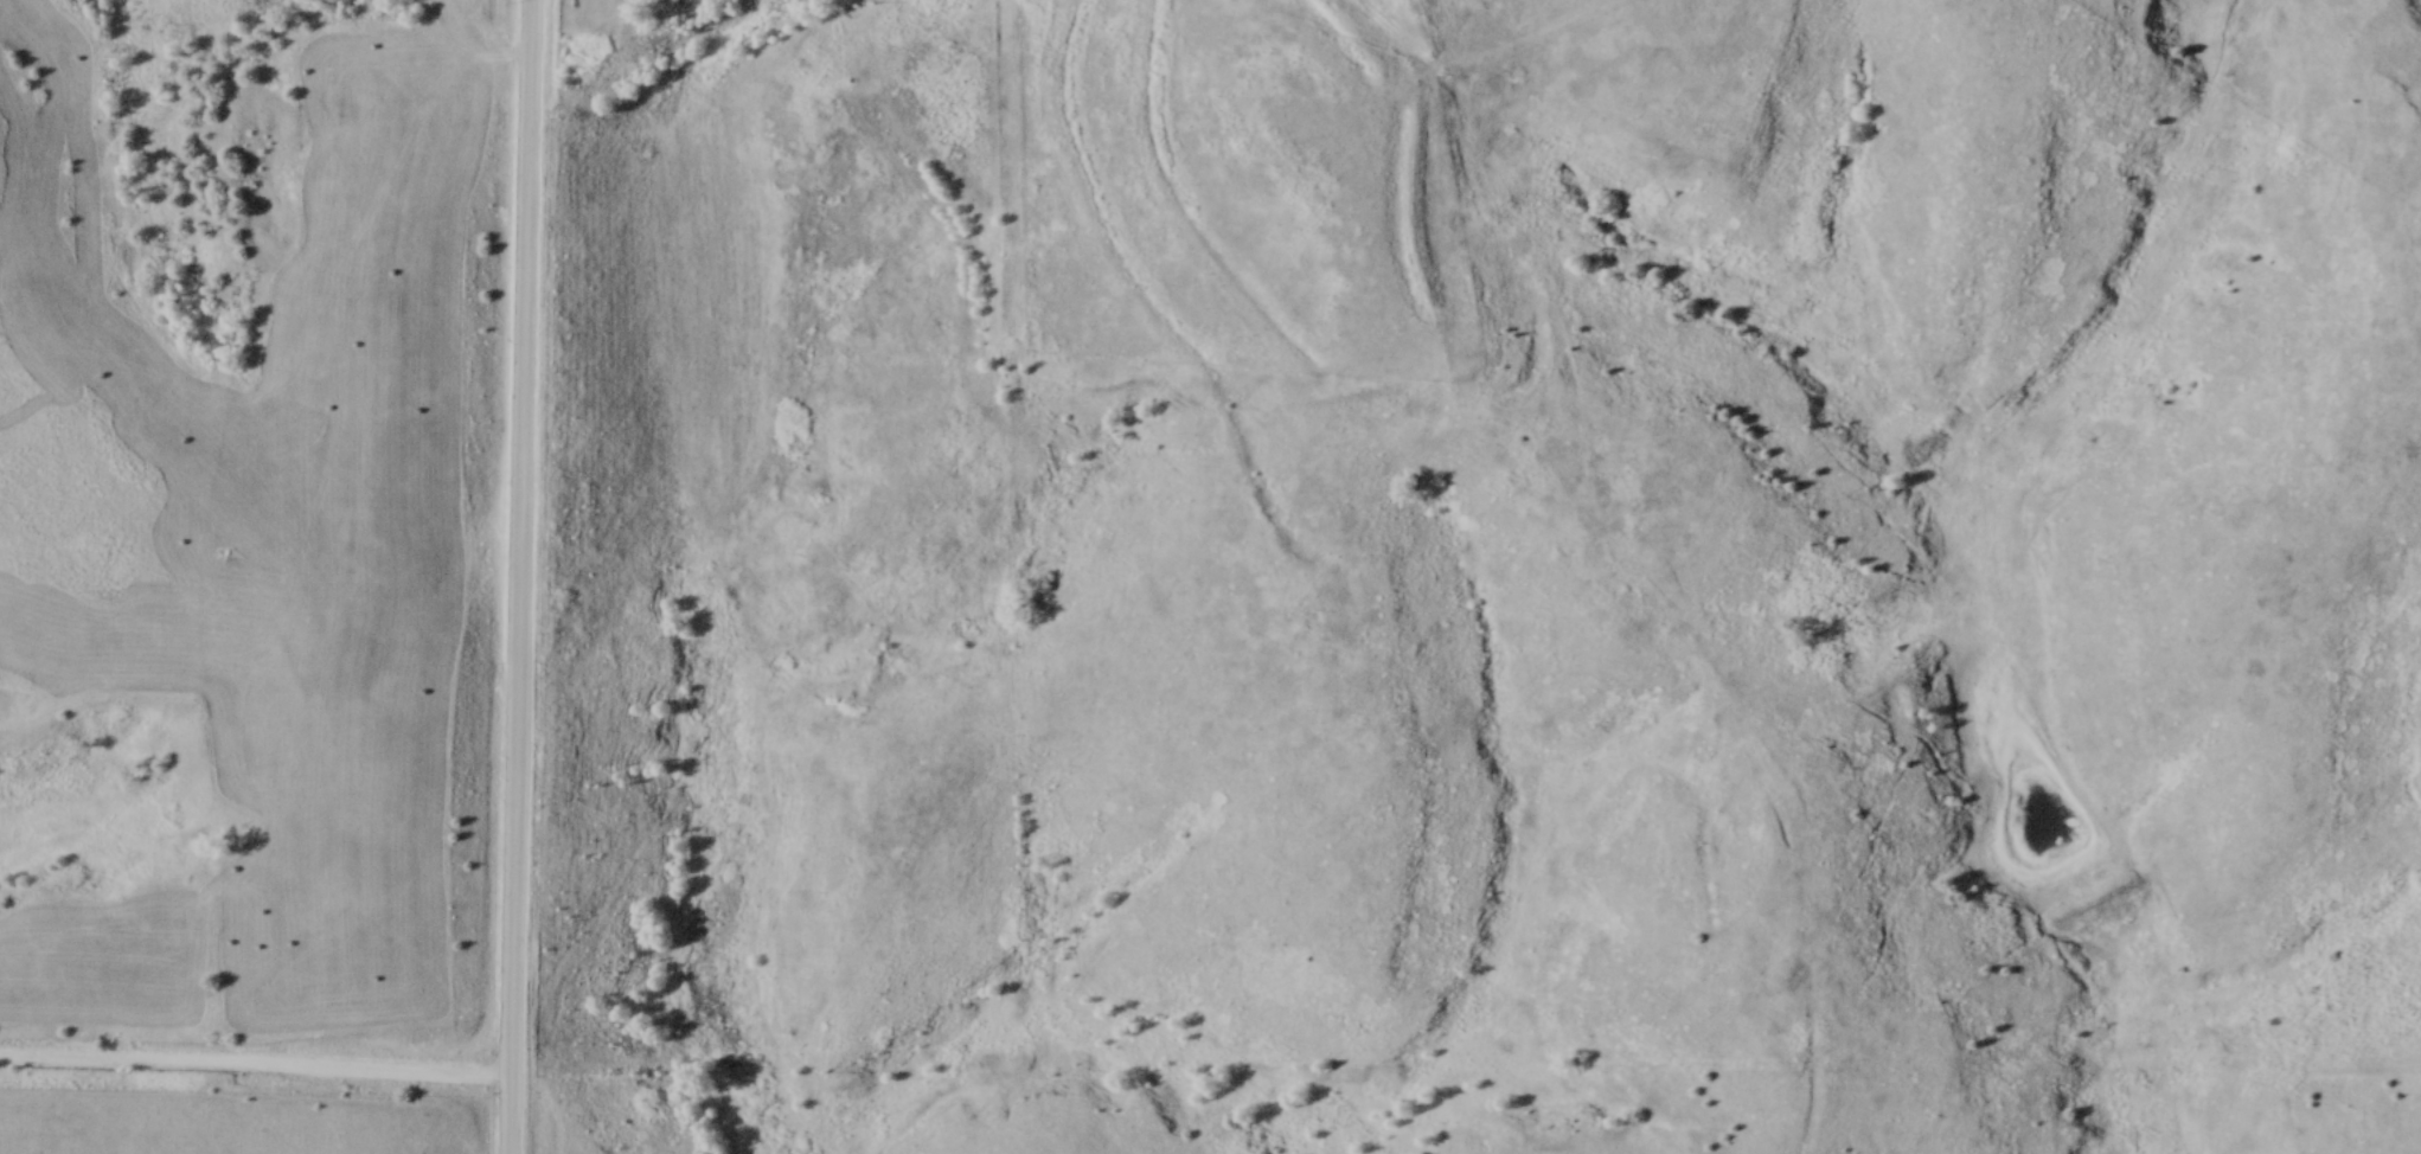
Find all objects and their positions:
road: (523, 576)
road: (257, 1064)

